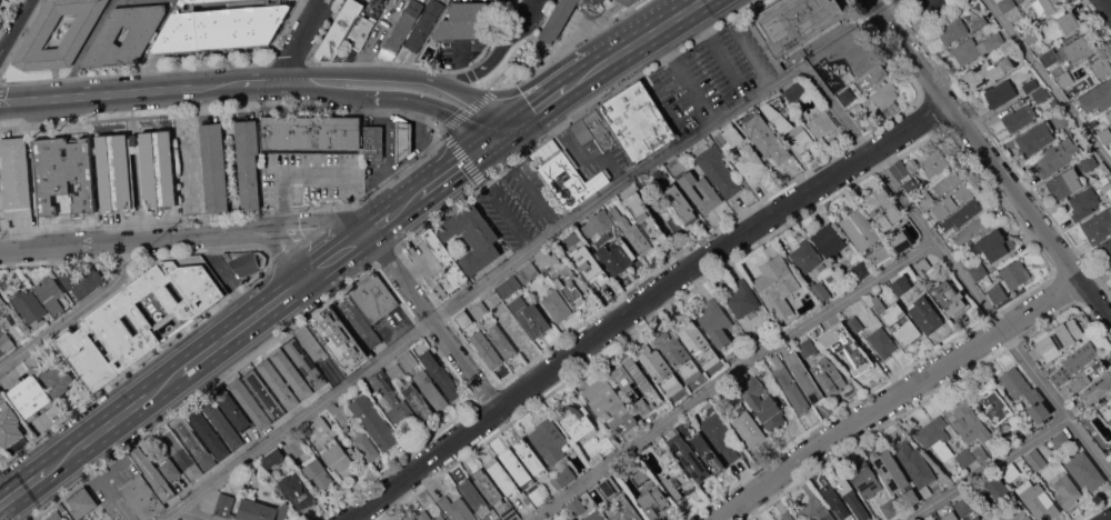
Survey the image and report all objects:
road: (1110, 0)
building: (0, 1)
building: (624, 1)
building: (632, 2)
building: (1005, 4)
building: (1047, 6)
road: (891, 7)
building: (938, 9)
building: (1014, 14)
building: (563, 19)
building: (469, 20)
building: (980, 23)
building: (1069, 23)
building: (424, 24)
road: (16, 26)
building: (221, 26)
building: (793, 26)
building: (402, 28)
building: (340, 29)
building: (952, 29)
building: (42, 30)
building: (361, 30)
building: (140, 36)
building: (1032, 37)
road: (299, 40)
road: (635, 42)
building: (973, 48)
road: (499, 50)
building: (1071, 51)
road: (674, 67)
building: (1101, 67)
building: (860, 68)
building: (989, 71)
road: (371, 73)
building: (871, 77)
road: (733, 79)
road: (1052, 79)
building: (1065, 80)
road: (286, 82)
road: (256, 83)
road: (210, 86)
building: (1031, 86)
building: (793, 91)
building: (1000, 92)
road: (94, 94)
building: (1041, 94)
building: (847, 96)
building: (885, 96)
road: (397, 97)
building: (1098, 97)
road: (484, 104)
road: (543, 104)
building: (1109, 114)
building: (1018, 119)
building: (637, 120)
building: (864, 120)
building: (821, 122)
building: (1093, 123)
traffic signals: (518, 124)
building: (788, 127)
road: (442, 130)
building: (595, 130)
road: (504, 133)
building: (313, 134)
building: (1105, 134)
building: (730, 137)
building: (767, 138)
building: (1034, 138)
building: (403, 139)
building: (374, 141)
traffic signals: (492, 142)
road: (580, 152)
building: (1059, 154)
building: (249, 162)
building: (934, 162)
building: (1089, 162)
road: (989, 163)
building: (751, 164)
building: (677, 166)
building: (214, 167)
road: (456, 169)
building: (899, 169)
building: (719, 171)
road: (291, 172)
building: (64, 176)
building: (16, 177)
building: (117, 178)
building: (570, 180)
building: (1103, 180)
road: (529, 182)
building: (948, 182)
building: (1064, 182)
building: (913, 186)
building: (700, 191)
building: (927, 200)
building: (952, 201)
road: (498, 203)
building: (681, 203)
building: (1083, 203)
building: (883, 208)
building: (961, 217)
building: (645, 218)
road: (311, 221)
building: (597, 223)
building: (1098, 227)
building: (860, 228)
building: (973, 229)
building: (632, 231)
road: (362, 236)
building: (472, 237)
building: (830, 240)
road: (127, 241)
building: (901, 241)
building: (994, 244)
road: (286, 247)
building: (1104, 250)
building: (880, 254)
building: (805, 256)
building: (618, 257)
building: (547, 258)
building: (244, 261)
building: (444, 266)
building: (923, 266)
building: (589, 267)
building: (824, 268)
building: (862, 270)
road: (955, 271)
building: (978, 271)
building: (1110, 271)
building: (528, 272)
building: (829, 276)
building: (1009, 280)
building: (82, 281)
building: (571, 284)
building: (901, 284)
building: (509, 287)
building: (777, 287)
road: (480, 288)
building: (818, 289)
building: (50, 293)
building: (373, 297)
building: (949, 298)
building: (742, 300)
building: (2, 301)
building: (29, 304)
building: (557, 306)
road: (641, 306)
building: (152, 307)
building: (479, 310)
road: (74, 312)
building: (924, 314)
building: (530, 317)
building: (898, 320)
building: (360, 322)
road: (433, 322)
building: (715, 323)
road: (242, 324)
building: (855, 324)
building: (340, 339)
building: (753, 339)
building: (1058, 339)
building: (6, 341)
building: (502, 341)
building: (697, 341)
building: (312, 342)
building: (882, 342)
building: (809, 347)
building: (847, 347)
building: (487, 350)
building: (1, 351)
building: (93, 353)
building: (679, 354)
building: (1081, 356)
road: (144, 358)
building: (408, 360)
building: (78, 361)
building: (33, 362)
building: (304, 362)
building: (660, 369)
building: (396, 371)
building: (291, 373)
building: (440, 373)
road: (731, 374)
building: (1087, 374)
building: (803, 376)
building: (830, 376)
building: (1059, 377)
building: (58, 380)
building: (278, 383)
building: (788, 383)
building: (639, 384)
building: (769, 388)
building: (431, 390)
building: (1094, 391)
building: (36, 392)
road: (202, 392)
building: (264, 393)
building: (1027, 393)
building: (2, 396)
road: (898, 399)
building: (396, 401)
building: (418, 401)
building: (22, 402)
building: (250, 402)
building: (994, 402)
building: (610, 403)
building: (762, 403)
building: (231, 407)
building: (1105, 409)
building: (342, 412)
building: (967, 419)
road: (112, 421)
building: (374, 422)
building: (577, 422)
building: (222, 423)
building: (9, 424)
building: (320, 426)
building: (685, 428)
building: (749, 428)
building: (209, 434)
building: (720, 437)
building: (934, 437)
building: (549, 439)
building: (1061, 440)
building: (194, 443)
building: (605, 446)
building: (661, 446)
building: (367, 447)
building: (294, 449)
building: (980, 451)
building: (353, 452)
building: (688, 453)
building: (181, 454)
building: (709, 456)
building: (531, 457)
building: (965, 457)
building: (1039, 457)
building: (340, 458)
building: (274, 459)
building: (915, 464)
building: (170, 468)
building: (517, 468)
road: (990, 469)
building: (1085, 470)
building: (891, 471)
building: (1012, 471)
building: (316, 472)
building: (153, 474)
building: (503, 477)
building: (562, 477)
building: (677, 480)
building: (867, 480)
road: (23, 487)
building: (489, 487)
building: (610, 487)
building: (994, 488)
building: (298, 490)
building: (1067, 491)
building: (913, 496)
building: (142, 497)
building: (474, 497)
building: (852, 497)
building: (1038, 500)
building: (81, 501)
building: (835, 501)
building: (654, 502)
building: (575, 507)
building: (963, 507)
building: (889, 508)
building: (251, 509)
building: (457, 509)
building: (815, 511)
road: (198, 513)
building: (510, 513)
building: (627, 513)
building: (593, 514)
building: (1013, 514)
building: (56, 516)
building: (429, 516)
building: (787, 516)
building: (950, 516)
building: (569, 518)
building: (977, 518)
building: (101, 519)
building: (413, 519)
building: (489, 519)
building: (497, 519)
building: (934, 519)
building: (984, 519)
building: (987, 519)
road: (1109, 519)

